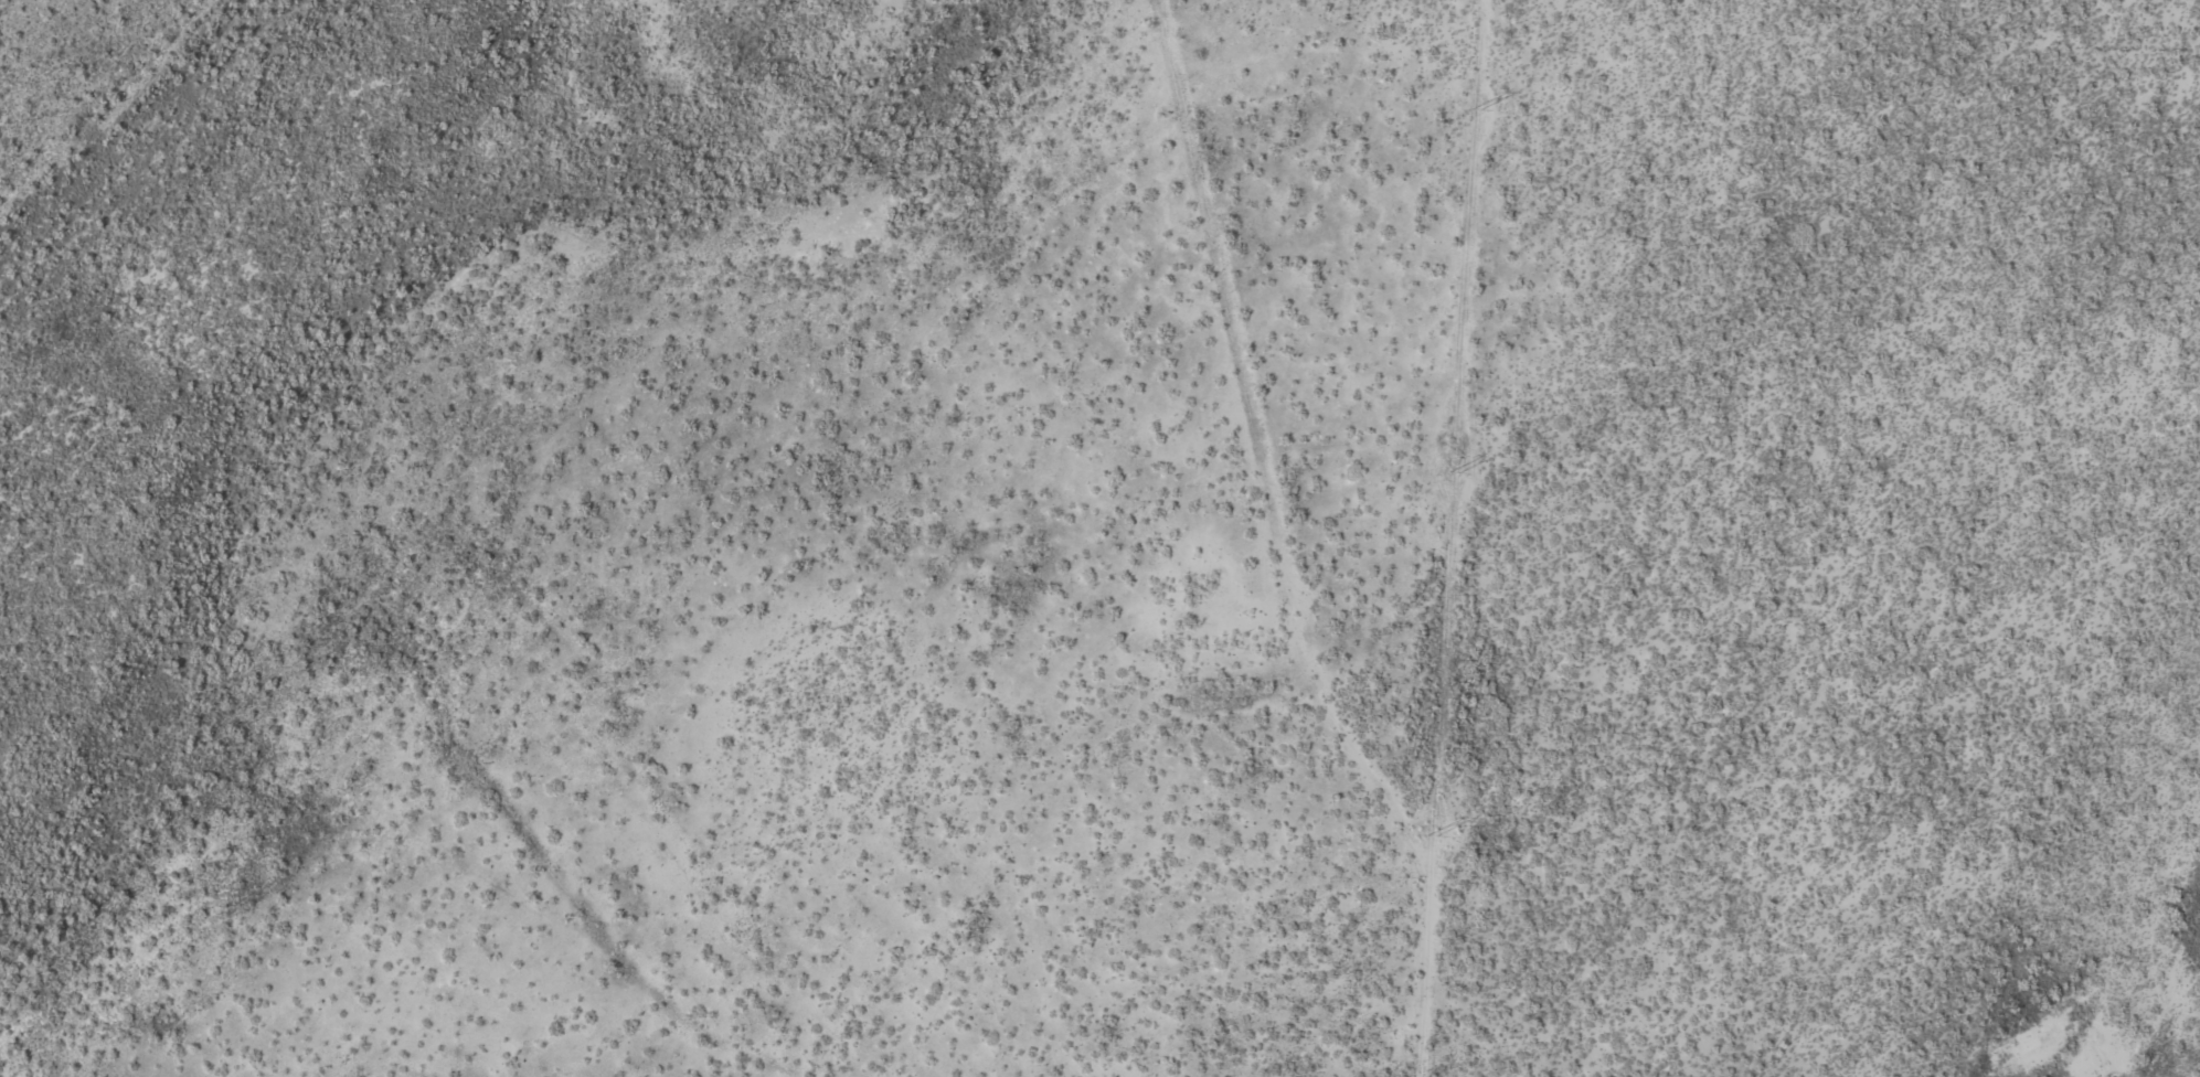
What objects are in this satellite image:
power tower: (1475, 110)
power tower: (1453, 473)
power tower: (1432, 836)

